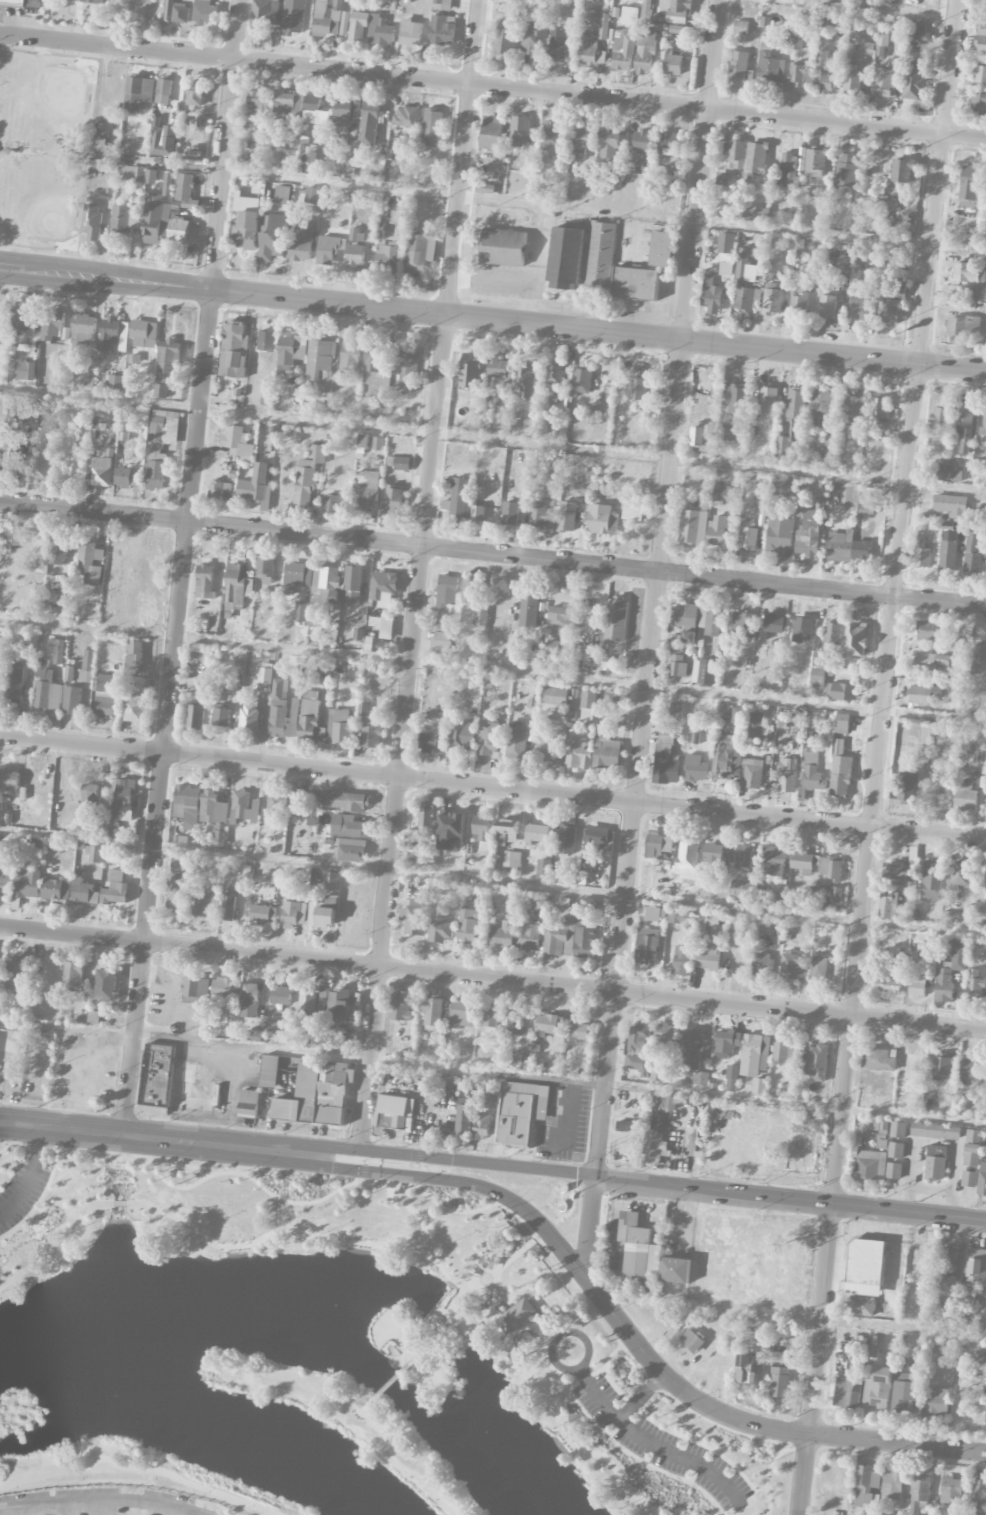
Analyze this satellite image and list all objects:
building: (76, 0)
building: (93, 1)
building: (21, 3)
building: (443, 5)
building: (676, 7)
building: (175, 11)
road: (880, 11)
building: (205, 12)
building: (265, 13)
building: (629, 16)
building: (295, 17)
building: (675, 19)
building: (327, 20)
building: (345, 23)
building: (358, 25)
building: (741, 27)
building: (441, 30)
building: (381, 31)
building: (686, 31)
building: (411, 32)
building: (572, 32)
building: (603, 32)
building: (909, 34)
building: (505, 37)
building: (534, 38)
building: (981, 40)
building: (795, 43)
building: (557, 44)
building: (588, 49)
building: (866, 49)
building: (623, 52)
building: (645, 52)
building: (673, 65)
building: (738, 65)
building: (770, 66)
building: (796, 74)
building: (822, 74)
building: (979, 74)
building: (851, 78)
building: (884, 82)
building: (913, 84)
road: (493, 87)
building: (164, 91)
building: (195, 92)
building: (138, 93)
building: (258, 102)
building: (978, 102)
building: (288, 105)
building: (314, 110)
building: (346, 112)
building: (407, 117)
building: (369, 123)
building: (433, 128)
building: (522, 131)
building: (552, 136)
building: (494, 137)
building: (643, 140)
building: (583, 141)
building: (610, 141)
building: (162, 142)
building: (669, 143)
building: (99, 144)
park: (45, 150)
building: (735, 153)
building: (755, 159)
building: (317, 162)
building: (815, 163)
building: (787, 168)
building: (848, 171)
building: (901, 172)
building: (134, 173)
building: (151, 176)
building: (615, 176)
building: (969, 186)
building: (186, 191)
building: (314, 195)
road: (540, 204)
building: (157, 213)
building: (755, 214)
building: (399, 217)
building: (125, 220)
building: (92, 221)
building: (246, 223)
building: (179, 230)
building: (275, 234)
building: (302, 240)
road: (535, 244)
building: (503, 247)
building: (357, 248)
building: (328, 249)
building: (663, 249)
building: (419, 252)
building: (601, 255)
building: (386, 257)
building: (566, 258)
building: (875, 259)
building: (742, 264)
building: (726, 268)
building: (966, 272)
road: (489, 279)
building: (635, 283)
building: (977, 293)
building: (712, 294)
building: (745, 298)
road: (527, 301)
building: (772, 301)
building: (799, 303)
building: (827, 304)
building: (862, 309)
building: (890, 311)
building: (5, 315)
road: (493, 316)
building: (25, 321)
building: (52, 324)
building: (963, 326)
building: (83, 328)
building: (144, 334)
building: (112, 336)
building: (263, 341)
building: (234, 349)
building: (291, 351)
building: (167, 355)
building: (349, 358)
building: (320, 365)
building: (499, 367)
building: (406, 368)
building: (25, 371)
building: (470, 371)
building: (374, 372)
building: (554, 375)
building: (84, 378)
building: (581, 381)
building: (525, 382)
building: (115, 383)
building: (638, 387)
building: (161, 391)
building: (735, 398)
building: (768, 401)
building: (822, 404)
building: (879, 408)
building: (854, 410)
building: (939, 414)
building: (593, 416)
building: (791, 421)
building: (983, 423)
building: (965, 425)
building: (163, 428)
building: (726, 432)
building: (701, 435)
road: (493, 439)
building: (363, 440)
building: (238, 443)
building: (378, 443)
building: (829, 448)
building: (12, 460)
building: (402, 463)
building: (39, 464)
building: (948, 470)
building: (102, 471)
building: (156, 471)
building: (308, 476)
building: (126, 478)
building: (255, 485)
building: (782, 486)
building: (215, 490)
building: (365, 491)
building: (726, 494)
building: (394, 498)
building: (460, 498)
building: (331, 503)
building: (951, 505)
building: (633, 512)
building: (478, 513)
building: (510, 513)
building: (538, 514)
building: (567, 516)
building: (601, 519)
building: (552, 520)
building: (694, 527)
building: (718, 530)
building: (809, 532)
building: (10, 536)
building: (749, 538)
building: (781, 539)
building: (840, 546)
building: (61, 547)
building: (861, 550)
road: (492, 554)
building: (921, 554)
building: (948, 555)
building: (972, 555)
building: (90, 563)
building: (265, 565)
road: (184, 567)
road: (418, 574)
building: (297, 575)
building: (205, 581)
building: (237, 584)
building: (353, 584)
road: (656, 586)
building: (384, 588)
building: (447, 591)
building: (470, 591)
building: (321, 593)
road: (892, 602)
building: (232, 609)
building: (301, 611)
building: (529, 612)
building: (686, 614)
building: (673, 615)
building: (562, 616)
building: (481, 617)
building: (616, 619)
building: (709, 622)
building: (743, 624)
building: (387, 626)
building: (770, 626)
building: (803, 628)
building: (928, 630)
building: (689, 632)
building: (833, 633)
building: (2, 634)
building: (855, 638)
building: (442, 643)
building: (372, 644)
building: (560, 647)
building: (56, 650)
building: (977, 656)
building: (134, 658)
building: (820, 659)
building: (88, 660)
building: (930, 662)
building: (677, 665)
road: (493, 668)
building: (706, 672)
building: (69, 676)
building: (817, 678)
building: (265, 679)
building: (14, 684)
building: (46, 689)
building: (840, 691)
building: (924, 694)
building: (105, 695)
building: (72, 700)
building: (554, 702)
building: (983, 703)
building: (588, 705)
building: (135, 709)
building: (363, 709)
building: (677, 710)
building: (282, 711)
building: (196, 716)
building: (249, 716)
building: (222, 717)
building: (311, 718)
building: (749, 720)
building: (842, 723)
building: (340, 726)
building: (462, 735)
building: (372, 736)
building: (488, 737)
building: (432, 742)
building: (516, 742)
building: (543, 750)
building: (577, 751)
building: (607, 751)
building: (666, 756)
building: (736, 763)
building: (696, 768)
building: (812, 772)
building: (787, 775)
building: (841, 776)
building: (9, 779)
road: (493, 787)
building: (907, 788)
building: (965, 797)
building: (88, 801)
building: (345, 801)
building: (123, 803)
building: (276, 803)
building: (188, 805)
building: (245, 806)
building: (297, 808)
building: (215, 814)
building: (426, 816)
building: (348, 826)
building: (482, 826)
building: (451, 827)
building: (507, 830)
building: (537, 833)
building: (567, 837)
building: (594, 841)
building: (658, 845)
building: (350, 850)
building: (424, 850)
building: (95, 854)
building: (715, 857)
building: (743, 857)
building: (512, 859)
building: (773, 860)
building: (178, 861)
building: (687, 862)
building: (804, 862)
building: (543, 869)
building: (831, 869)
building: (897, 870)
building: (960, 874)
building: (332, 880)
building: (931, 881)
road: (493, 882)
building: (27, 883)
building: (5, 884)
building: (985, 886)
building: (744, 887)
building: (53, 889)
building: (115, 889)
building: (83, 890)
building: (177, 894)
building: (332, 894)
building: (830, 901)
building: (202, 904)
building: (229, 904)
building: (888, 904)
building: (291, 912)
building: (263, 914)
building: (655, 914)
building: (321, 916)
building: (414, 917)
building: (679, 917)
building: (467, 925)
building: (586, 929)
building: (441, 931)
building: (503, 935)
building: (531, 936)
building: (555, 937)
building: (647, 946)
building: (708, 957)
building: (682, 960)
building: (761, 964)
building: (793, 966)
building: (818, 967)
building: (950, 969)
building: (18, 975)
building: (73, 976)
road: (492, 979)
building: (892, 981)
building: (106, 985)
building: (918, 985)
building: (194, 989)
building: (975, 989)
building: (222, 990)
building: (280, 995)
building: (322, 995)
building: (249, 1000)
building: (400, 1006)
building: (432, 1010)
building: (474, 1015)
building: (94, 1017)
building: (516, 1021)
building: (550, 1024)
building: (578, 1030)
building: (667, 1033)
building: (256, 1034)
building: (317, 1040)
building: (727, 1043)
building: (337, 1045)
building: (692, 1048)
building: (639, 1049)
building: (784, 1052)
building: (754, 1054)
building: (879, 1059)
building: (814, 1061)
building: (945, 1068)
building: (967, 1068)
building: (270, 1071)
road: (493, 1072)
building: (658, 1072)
building: (732, 1077)
building: (700, 1078)
building: (173, 1084)
building: (759, 1086)
building: (317, 1094)
building: (249, 1102)
building: (668, 1102)
building: (393, 1111)
building: (521, 1112)
building: (464, 1118)
building: (483, 1126)
building: (622, 1126)
building: (880, 1126)
building: (899, 1129)
building: (936, 1131)
road: (161, 1138)
building: (654, 1147)
building: (972, 1148)
building: (897, 1150)
road: (458, 1159)
building: (936, 1162)
building: (869, 1164)
building: (894, 1171)
road: (31, 1174)
building: (969, 1179)
building: (982, 1180)
road: (380, 1181)
road: (45, 1190)
parking lot: (21, 1192)
road: (790, 1199)
road: (120, 1203)
road: (589, 1225)
road: (297, 1230)
road: (65, 1249)
building: (637, 1249)
building: (728, 1252)
road: (516, 1253)
building: (950, 1261)
building: (975, 1262)
building: (865, 1265)
building: (675, 1270)
building: (774, 1281)
building: (947, 1283)
road: (523, 1292)
building: (707, 1293)
building: (968, 1298)
building: (861, 1305)
road: (490, 1309)
building: (516, 1315)
road: (795, 1315)
road: (821, 1318)
road: (445, 1321)
road: (525, 1323)
road: (620, 1324)
road: (517, 1331)
road: (560, 1333)
building: (693, 1340)
park: (325, 1354)
building: (778, 1356)
building: (980, 1356)
road: (603, 1366)
road: (555, 1367)
building: (748, 1369)
building: (981, 1373)
road: (557, 1381)
building: (779, 1382)
road: (390, 1384)
building: (878, 1388)
building: (848, 1390)
building: (985, 1391)
road: (583, 1392)
building: (905, 1392)
road: (641, 1395)
building: (938, 1402)
road: (559, 1405)
road: (367, 1407)
building: (985, 1420)
road: (682, 1434)
parking lot: (660, 1441)
road: (654, 1443)
road: (966, 1450)
road: (646, 1461)
road: (401, 1465)
road: (771, 1465)
road: (141, 1467)
road: (804, 1473)
building: (892, 1486)
building: (866, 1488)
building: (920, 1488)
building: (952, 1490)
building: (978, 1494)
road: (100, 1498)
road: (106, 1506)
road: (69, 1508)
road: (36, 1510)
road: (174, 1510)
building: (914, 1510)
road: (0, 1511)
building: (976, 1514)

